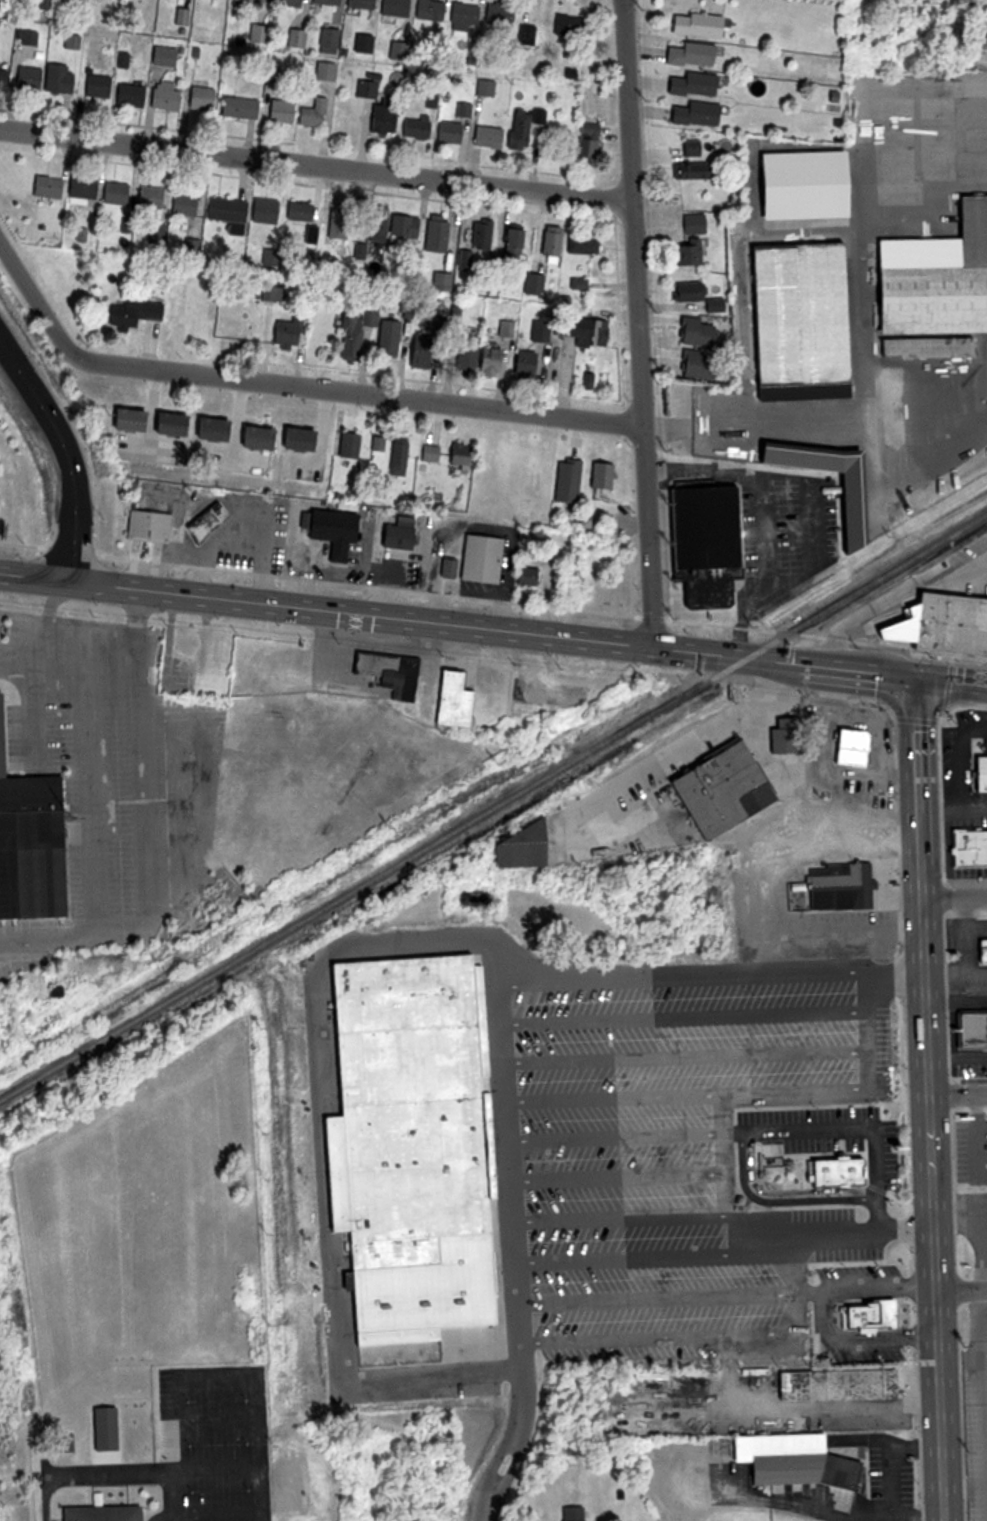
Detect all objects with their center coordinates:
building: (261, 0)
building: (294, 2)
building: (332, 2)
building: (365, 3)
building: (399, 7)
building: (916, 7)
building: (433, 10)
building: (502, 14)
building: (468, 17)
building: (703, 25)
building: (572, 26)
building: (261, 34)
building: (299, 37)
building: (332, 41)
building: (401, 50)
building: (697, 54)
building: (169, 56)
building: (328, 75)
building: (31, 77)
building: (62, 78)
building: (101, 85)
building: (370, 85)
building: (699, 85)
building: (135, 95)
building: (169, 96)
building: (206, 98)
building: (244, 107)
building: (285, 111)
building: (318, 113)
building: (701, 114)
building: (387, 119)
building: (423, 124)
building: (531, 130)
building: (454, 132)
building: (492, 137)
building: (592, 140)
building: (695, 148)
road: (316, 164)
building: (699, 170)
building: (796, 184)
building: (51, 186)
building: (86, 186)
building: (119, 193)
building: (154, 197)
building: (188, 204)
building: (230, 210)
building: (269, 210)
building: (304, 211)
building: (341, 223)
building: (697, 223)
building: (409, 226)
building: (382, 227)
building: (440, 235)
building: (486, 235)
building: (556, 241)
building: (518, 244)
building: (588, 246)
building: (690, 253)
building: (445, 281)
building: (537, 284)
building: (582, 284)
building: (932, 286)
building: (275, 293)
building: (695, 294)
road: (38, 304)
building: (137, 313)
building: (793, 313)
road: (639, 323)
building: (362, 327)
building: (589, 328)
building: (695, 331)
building: (293, 332)
building: (394, 338)
building: (467, 349)
building: (426, 352)
building: (497, 361)
building: (694, 363)
building: (532, 365)
road: (365, 392)
building: (136, 420)
building: (177, 424)
building: (219, 429)
building: (264, 438)
building: (305, 440)
building: (353, 445)
building: (380, 445)
road: (66, 452)
building: (432, 453)
building: (401, 457)
building: (463, 458)
building: (607, 476)
building: (572, 480)
building: (844, 509)
building: (213, 521)
building: (152, 527)
building: (340, 532)
building: (404, 534)
building: (707, 558)
building: (486, 559)
building: (453, 569)
building: (532, 577)
road: (896, 595)
road: (325, 609)
building: (944, 625)
road: (783, 660)
building: (386, 674)
traffic signals: (916, 678)
road: (951, 681)
building: (451, 700)
building: (523, 707)
building: (781, 733)
road: (693, 742)
building: (848, 746)
building: (982, 773)
building: (717, 789)
railway: (493, 815)
building: (32, 837)
building: (971, 847)
building: (841, 886)
road: (955, 895)
building: (984, 952)
road: (927, 983)
building: (972, 1031)
road: (959, 1093)
road: (743, 1134)
building: (411, 1148)
building: (980, 1164)
building: (839, 1172)
road: (622, 1218)
road: (714, 1238)
road: (513, 1252)
road: (962, 1288)
road: (670, 1302)
building: (872, 1313)
road: (824, 1316)
road: (219, 1375)
building: (843, 1385)
road: (941, 1404)
building: (110, 1428)
building: (805, 1463)
road: (159, 1468)
road: (965, 1488)
building: (107, 1513)
building: (577, 1513)

